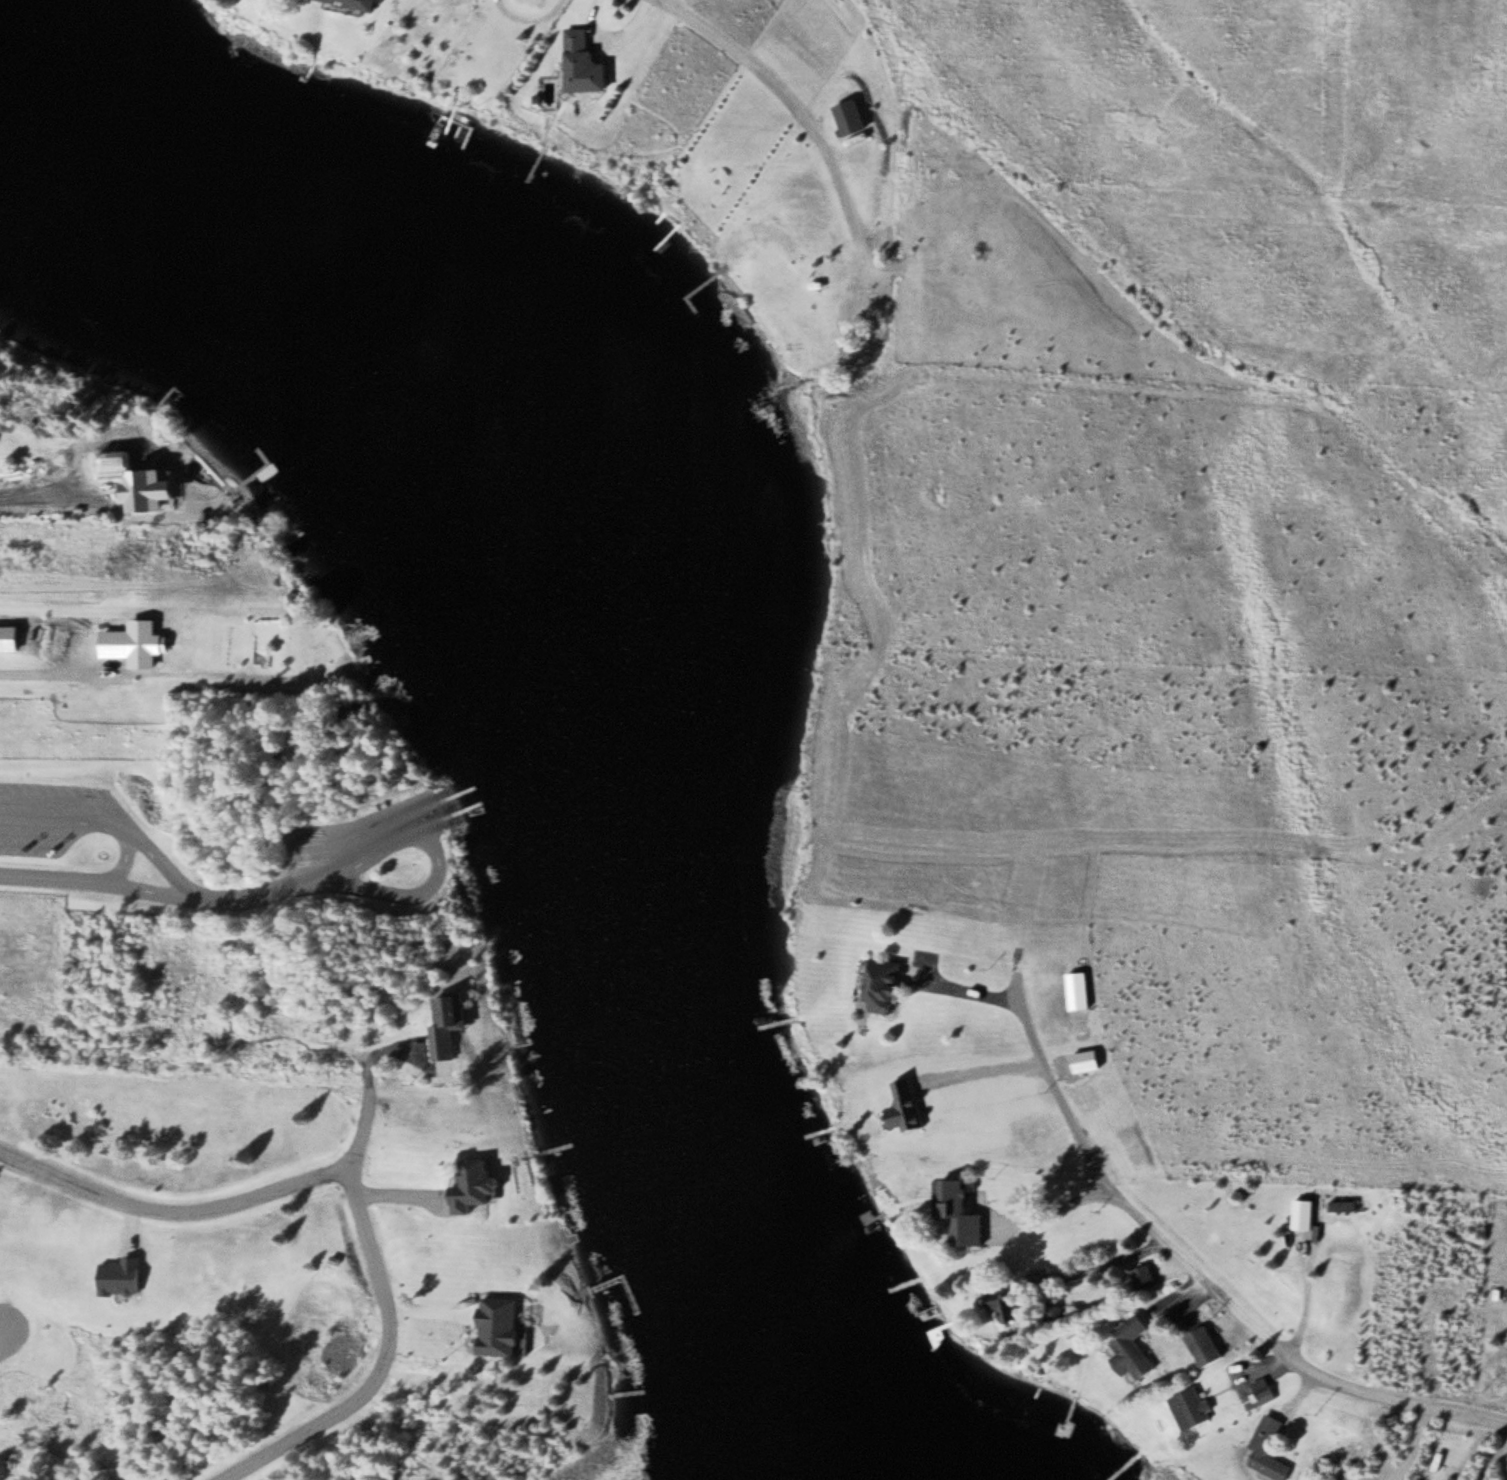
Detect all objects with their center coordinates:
building: (348, 5)
building: (585, 64)
road: (804, 115)
building: (854, 116)
road: (43, 513)
river: (557, 666)
parking lot: (15, 813)
road: (115, 823)
road: (431, 849)
road: (121, 858)
road: (100, 884)
road: (263, 892)
building: (892, 986)
building: (1086, 990)
building: (452, 1021)
building: (480, 1187)
building: (1356, 1205)
road: (171, 1212)
building: (1317, 1215)
building: (972, 1218)
building: (119, 1276)
building: (1153, 1277)
building: (1011, 1304)
building: (1060, 1309)
road: (1, 1336)
road: (1286, 1339)
building: (1215, 1347)
building: (1140, 1348)
road: (388, 1363)
building: (1198, 1409)
building: (1275, 1449)

